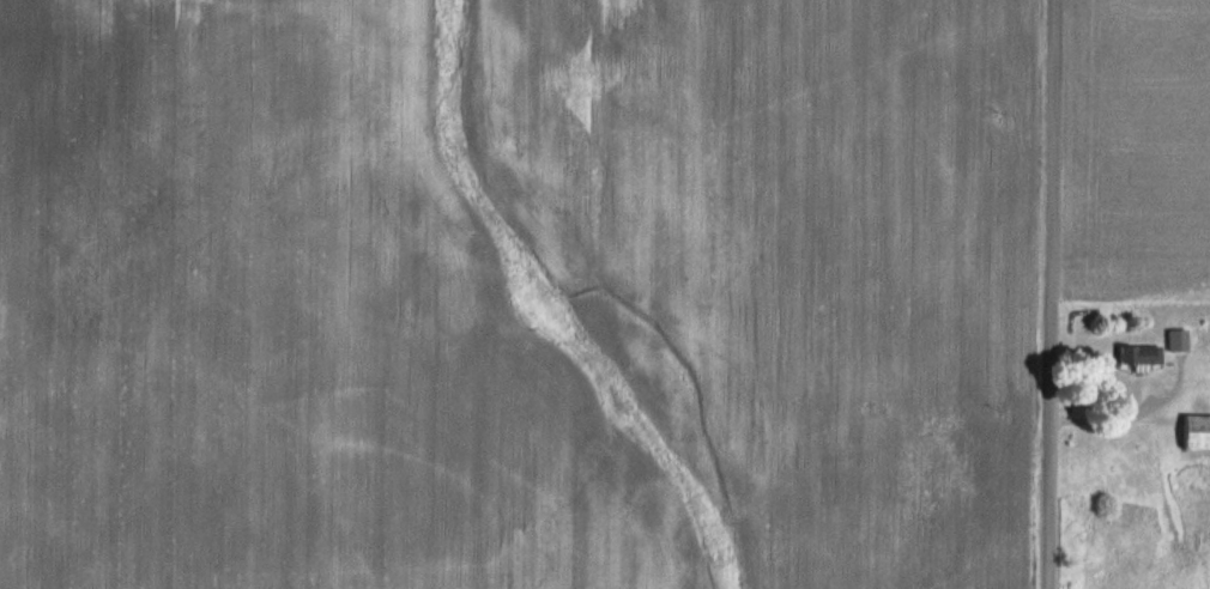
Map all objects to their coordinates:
road: (1039, 294)
building: (1176, 346)
building: (1139, 356)
building: (1197, 435)

